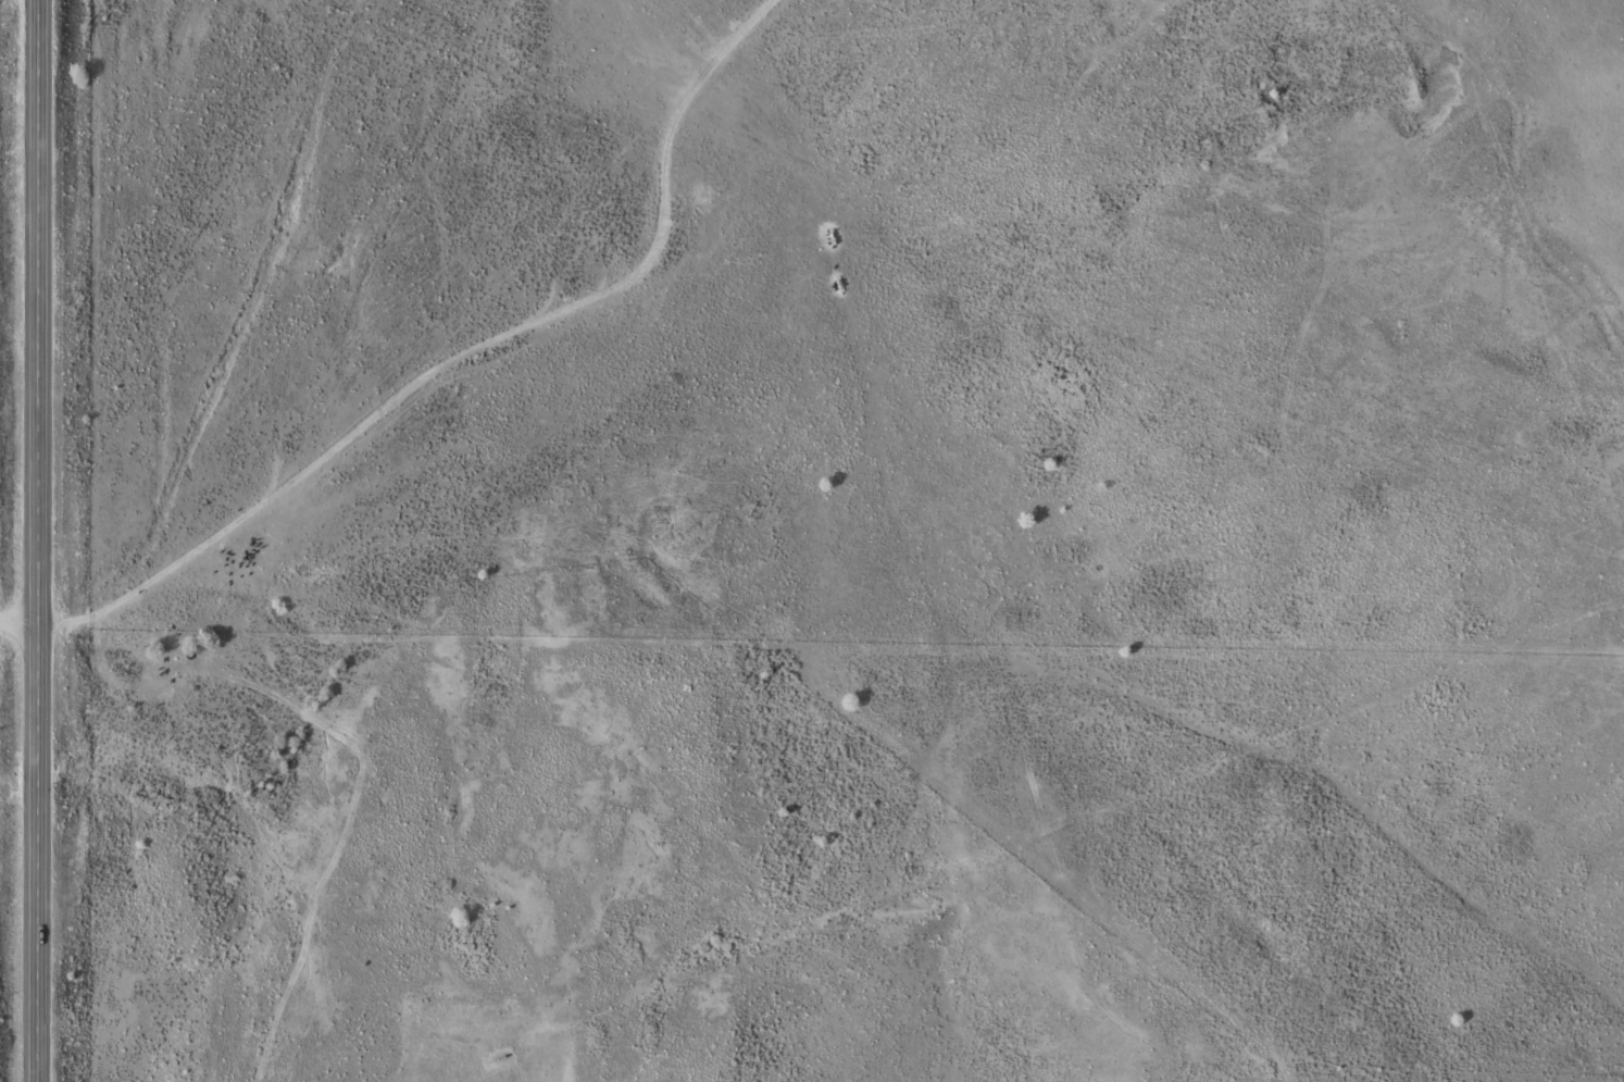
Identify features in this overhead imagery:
road: (35, 540)

